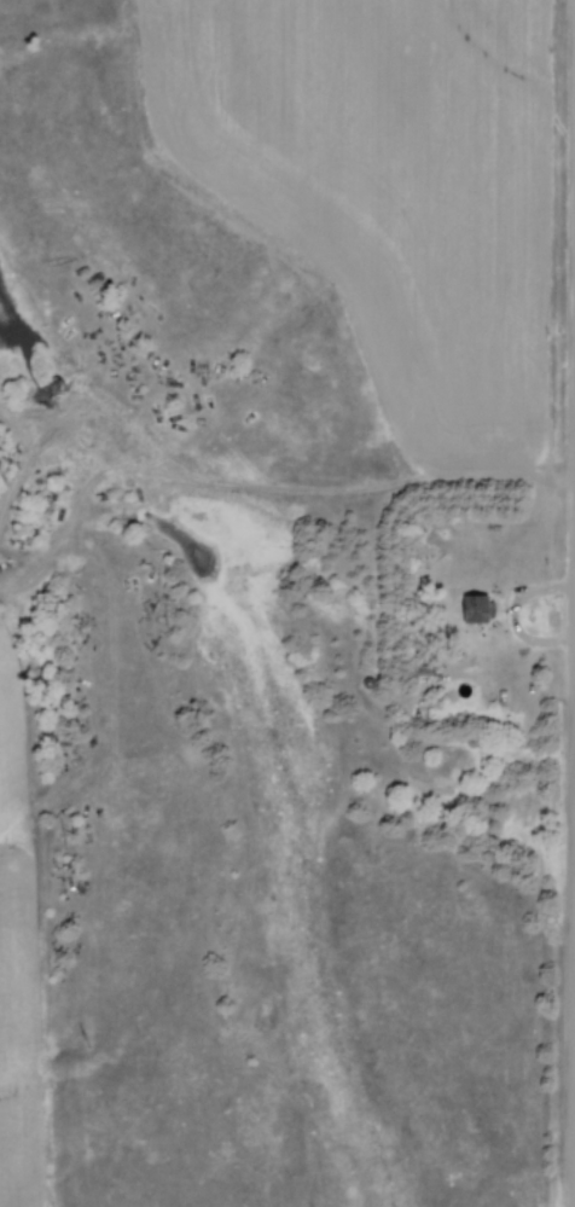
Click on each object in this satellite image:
road: (267, 494)
building: (472, 608)

